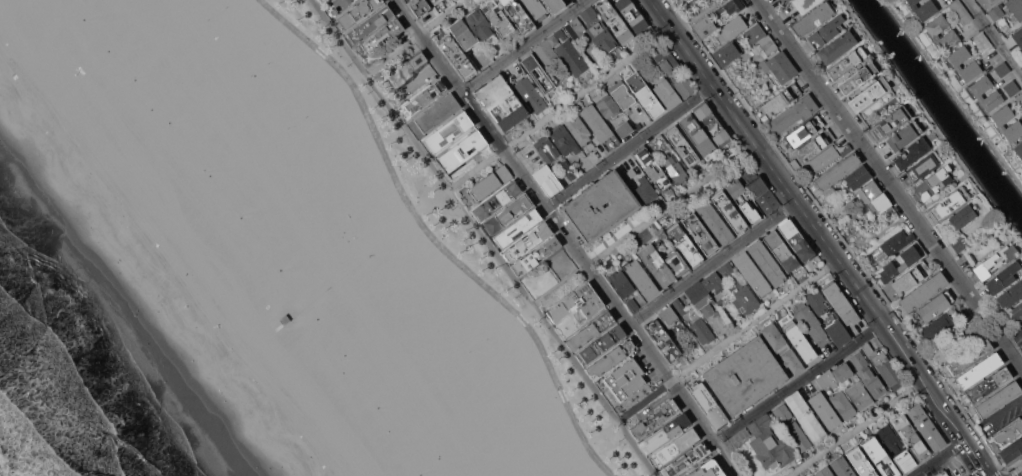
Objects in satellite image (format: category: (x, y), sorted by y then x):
building: (565, 0)
building: (688, 0)
building: (321, 1)
building: (436, 1)
building: (784, 1)
building: (805, 4)
building: (555, 5)
building: (338, 6)
building: (420, 7)
building: (1015, 8)
building: (536, 9)
building: (730, 9)
building: (923, 9)
building: (960, 12)
building: (356, 13)
building: (996, 13)
park: (217, 14)
building: (586, 14)
building: (632, 15)
road: (695, 15)
building: (519, 16)
building: (497, 18)
building: (813, 19)
building: (369, 24)
building: (480, 24)
building: (617, 25)
building: (704, 27)
building: (733, 28)
building: (576, 30)
building: (826, 31)
building: (463, 33)
building: (756, 34)
road: (415, 36)
building: (949, 36)
building: (603, 37)
road: (995, 37)
building: (380, 38)
building: (1018, 38)
building: (983, 43)
building: (767, 44)
road: (523, 45)
building: (837, 47)
building: (546, 54)
building: (569, 54)
building: (727, 54)
building: (457, 55)
building: (846, 62)
park: (259, 64)
building: (972, 66)
building: (408, 67)
building: (779, 67)
building: (1002, 69)
building: (681, 73)
road: (449, 74)
building: (538, 74)
building: (857, 78)
building: (1012, 88)
road: (586, 89)
building: (979, 91)
building: (666, 93)
road: (953, 93)
building: (868, 94)
building: (530, 95)
building: (621, 95)
building: (645, 95)
building: (425, 97)
building: (781, 99)
building: (1019, 99)
building: (502, 103)
building: (608, 106)
building: (437, 113)
building: (793, 113)
road: (930, 118)
park: (297, 119)
building: (711, 123)
building: (889, 124)
building: (1015, 125)
building: (637, 126)
building: (600, 127)
building: (578, 129)
building: (623, 129)
road: (744, 129)
building: (447, 132)
building: (805, 132)
building: (696, 135)
building: (904, 135)
building: (564, 140)
building: (816, 144)
road: (629, 147)
building: (683, 148)
building: (546, 149)
building: (845, 149)
building: (1018, 149)
building: (462, 151)
building: (912, 153)
building: (824, 159)
building: (668, 160)
building: (924, 166)
road: (475, 169)
building: (653, 169)
building: (837, 171)
building: (630, 174)
building: (858, 178)
building: (547, 180)
building: (490, 182)
building: (933, 183)
road: (889, 185)
building: (646, 190)
building: (760, 191)
building: (869, 191)
building: (736, 198)
building: (497, 201)
building: (880, 203)
building: (948, 203)
building: (600, 206)
road: (545, 207)
building: (730, 212)
building: (507, 214)
building: (963, 215)
road: (643, 223)
building: (715, 223)
building: (700, 234)
road: (838, 234)
road: (483, 237)
building: (796, 239)
road: (434, 240)
building: (526, 242)
building: (897, 243)
building: (959, 243)
building: (685, 244)
building: (780, 250)
building: (535, 256)
building: (995, 261)
road: (712, 262)
building: (901, 262)
building: (766, 263)
building: (663, 264)
building: (725, 270)
building: (752, 274)
building: (640, 278)
building: (910, 278)
building: (1002, 278)
building: (713, 282)
building: (621, 283)
building: (923, 291)
building: (1010, 295)
building: (743, 297)
building: (700, 298)
building: (816, 302)
building: (577, 304)
building: (841, 304)
building: (633, 305)
building: (679, 306)
building: (934, 307)
building: (1017, 312)
building: (671, 320)
building: (809, 323)
building: (935, 329)
building: (590, 330)
building: (702, 331)
building: (972, 332)
building: (838, 333)
building: (263, 335)
building: (774, 337)
building: (663, 340)
road: (728, 340)
building: (798, 340)
park: (478, 345)
building: (601, 345)
building: (940, 354)
building: (969, 357)
building: (611, 358)
building: (792, 361)
building: (881, 363)
road: (914, 366)
road: (662, 370)
building: (979, 370)
building: (868, 375)
building: (744, 376)
building: (625, 379)
building: (827, 379)
road: (798, 382)
building: (988, 385)
building: (853, 386)
building: (641, 391)
building: (998, 399)
building: (709, 405)
building: (842, 405)
building: (824, 410)
building: (782, 413)
building: (805, 416)
building: (655, 419)
building: (926, 427)
road: (856, 428)
building: (665, 433)
building: (1007, 433)
building: (798, 437)
building: (910, 437)
building: (889, 439)
building: (769, 444)
building: (675, 447)
building: (1010, 453)
building: (879, 457)
road: (939, 458)
building: (686, 459)
building: (861, 462)
building: (905, 462)
road: (1012, 465)
building: (842, 467)
building: (707, 469)
building: (824, 472)
road: (1003, 472)
building: (942, 473)
road: (1004, 474)
building: (968, 475)

